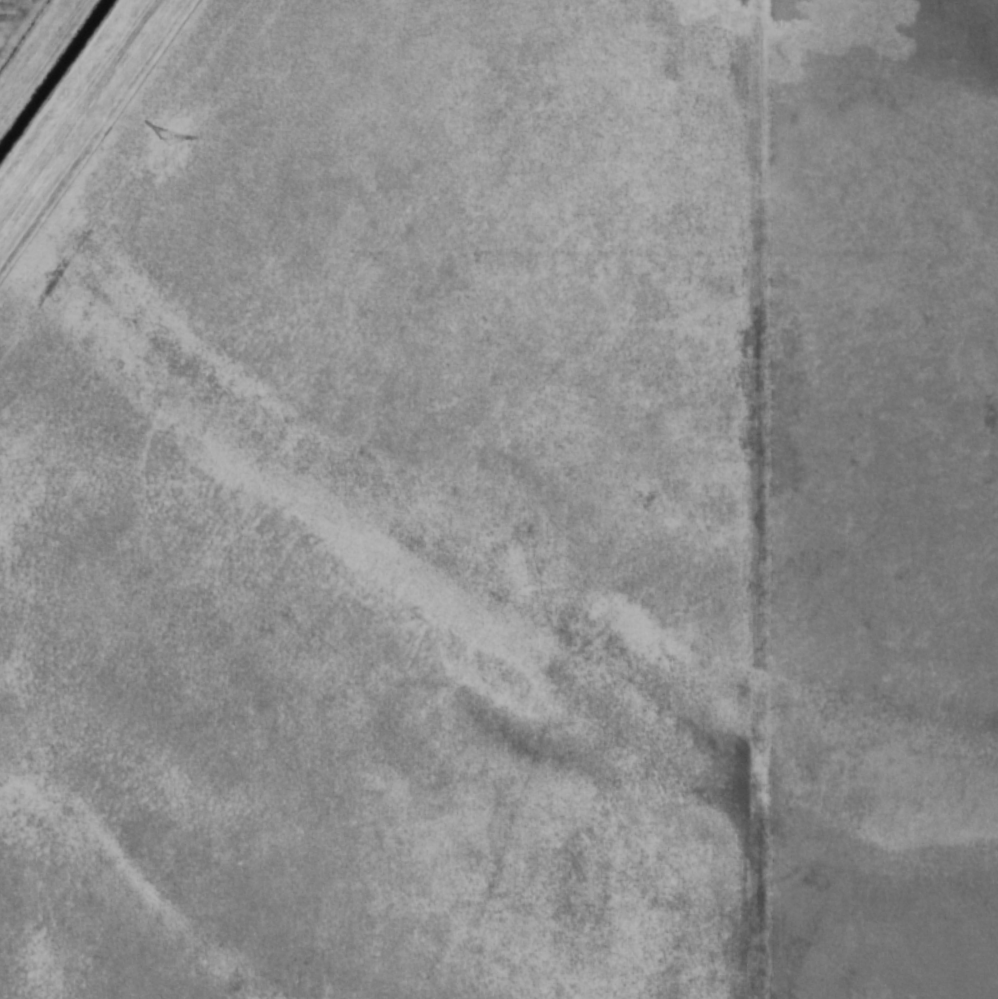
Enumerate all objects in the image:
power tower: (153, 157)

